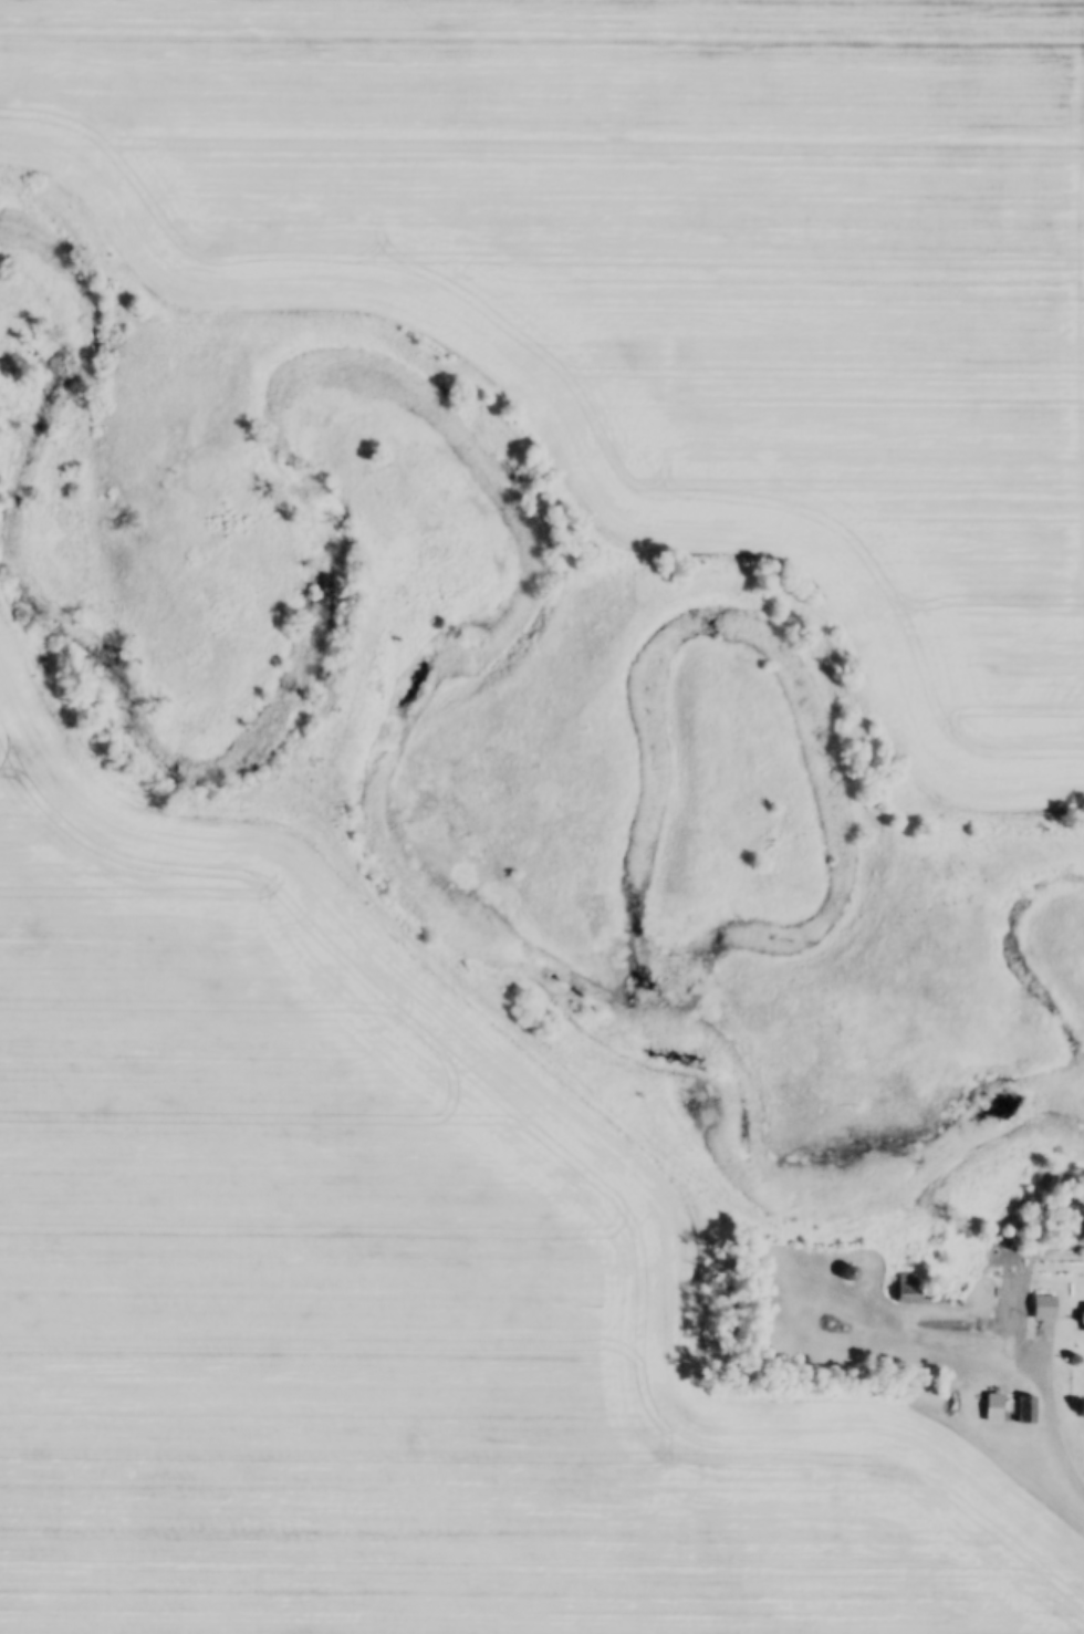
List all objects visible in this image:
building: (852, 1272)
building: (919, 1290)
building: (1046, 1305)
building: (1012, 1407)
road: (1056, 1417)

